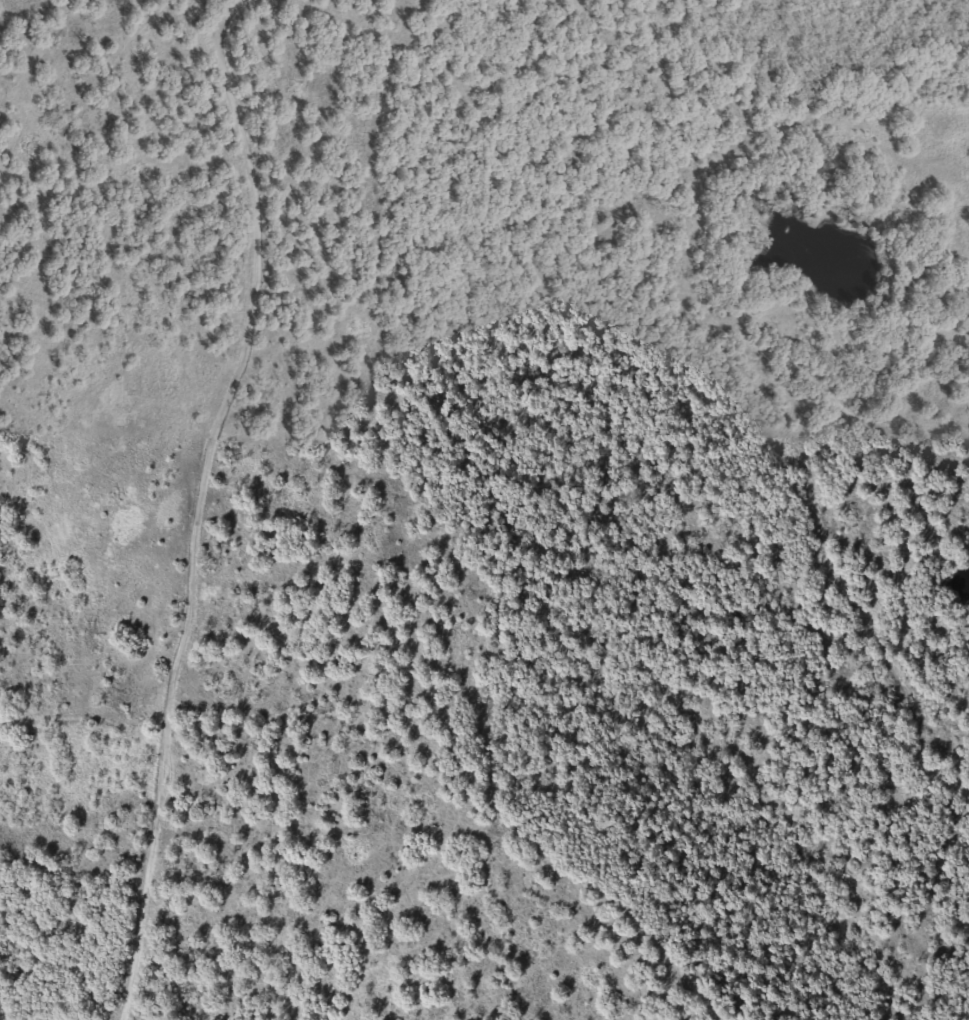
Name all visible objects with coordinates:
road: (200, 505)

